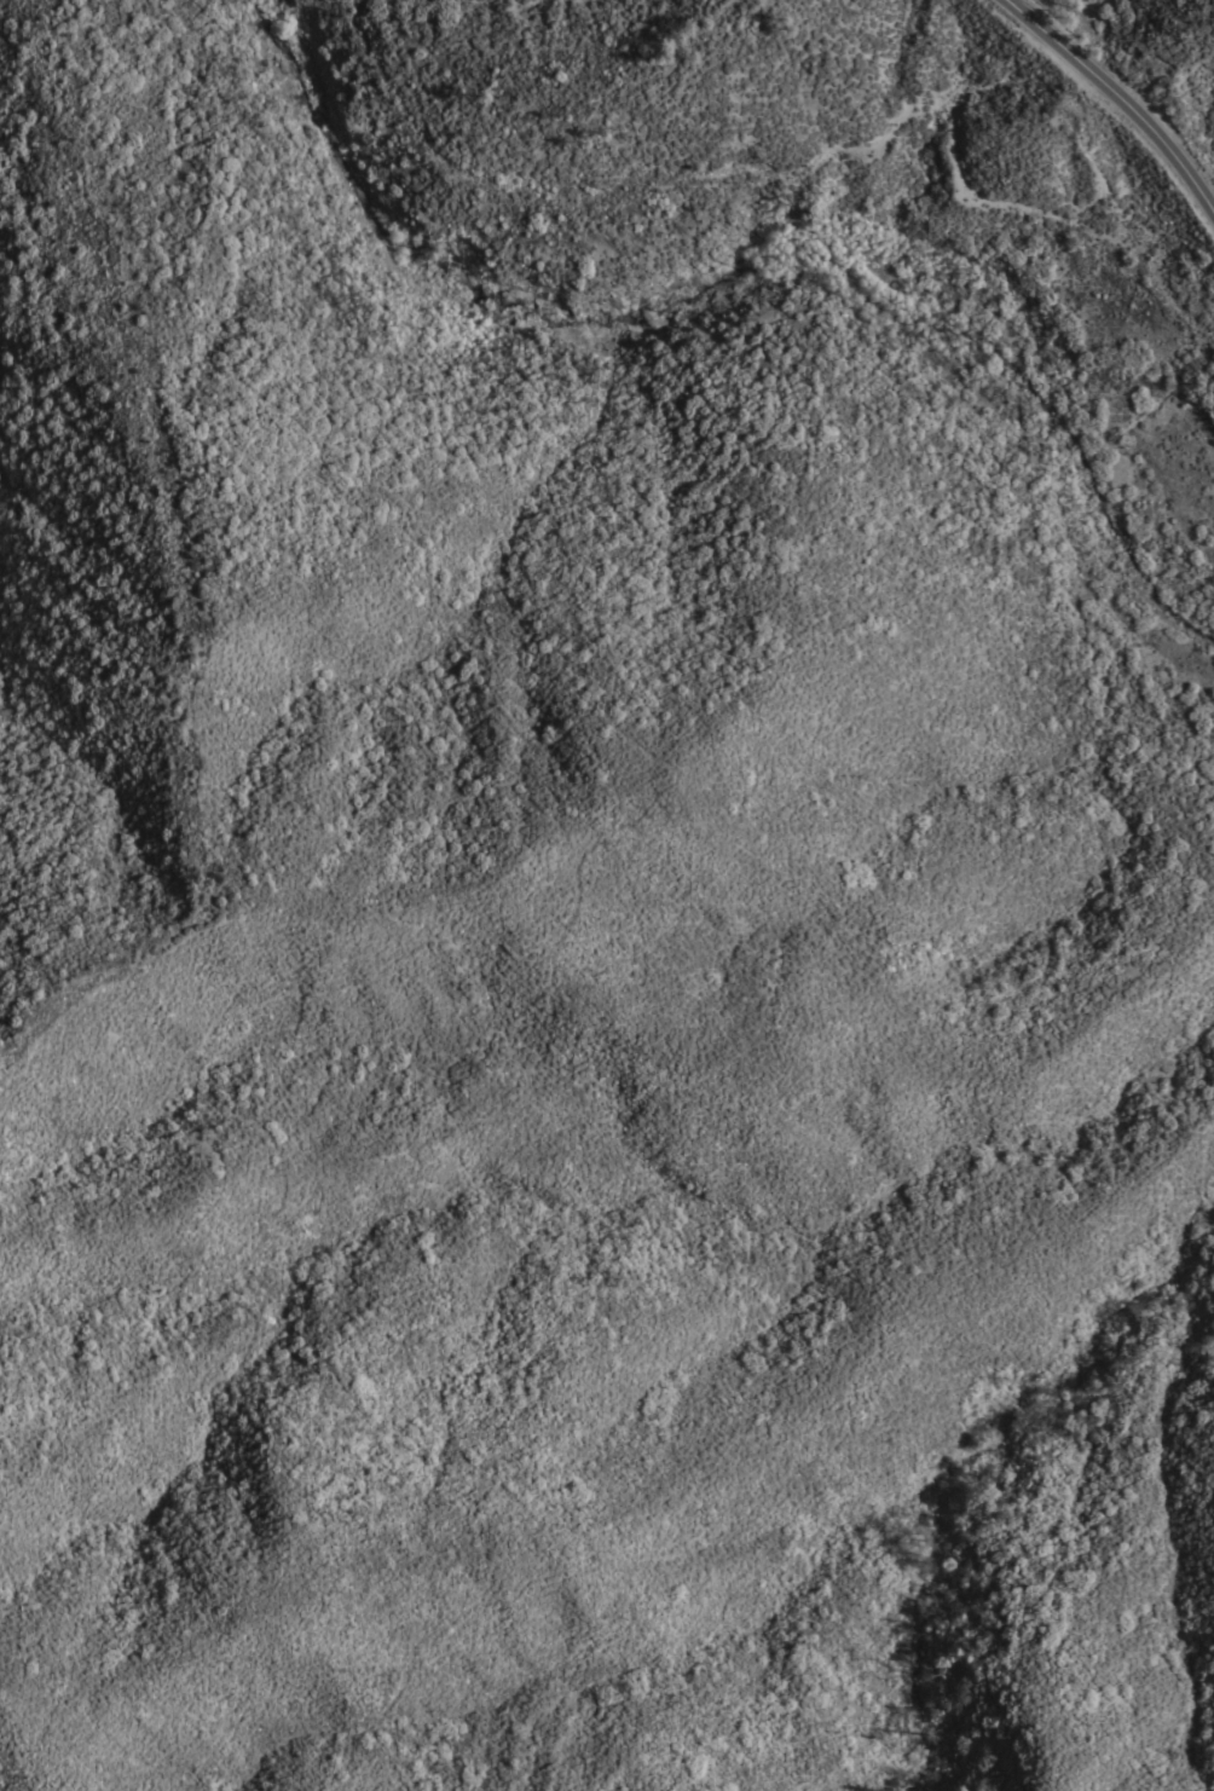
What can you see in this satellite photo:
road: (1120, 98)

